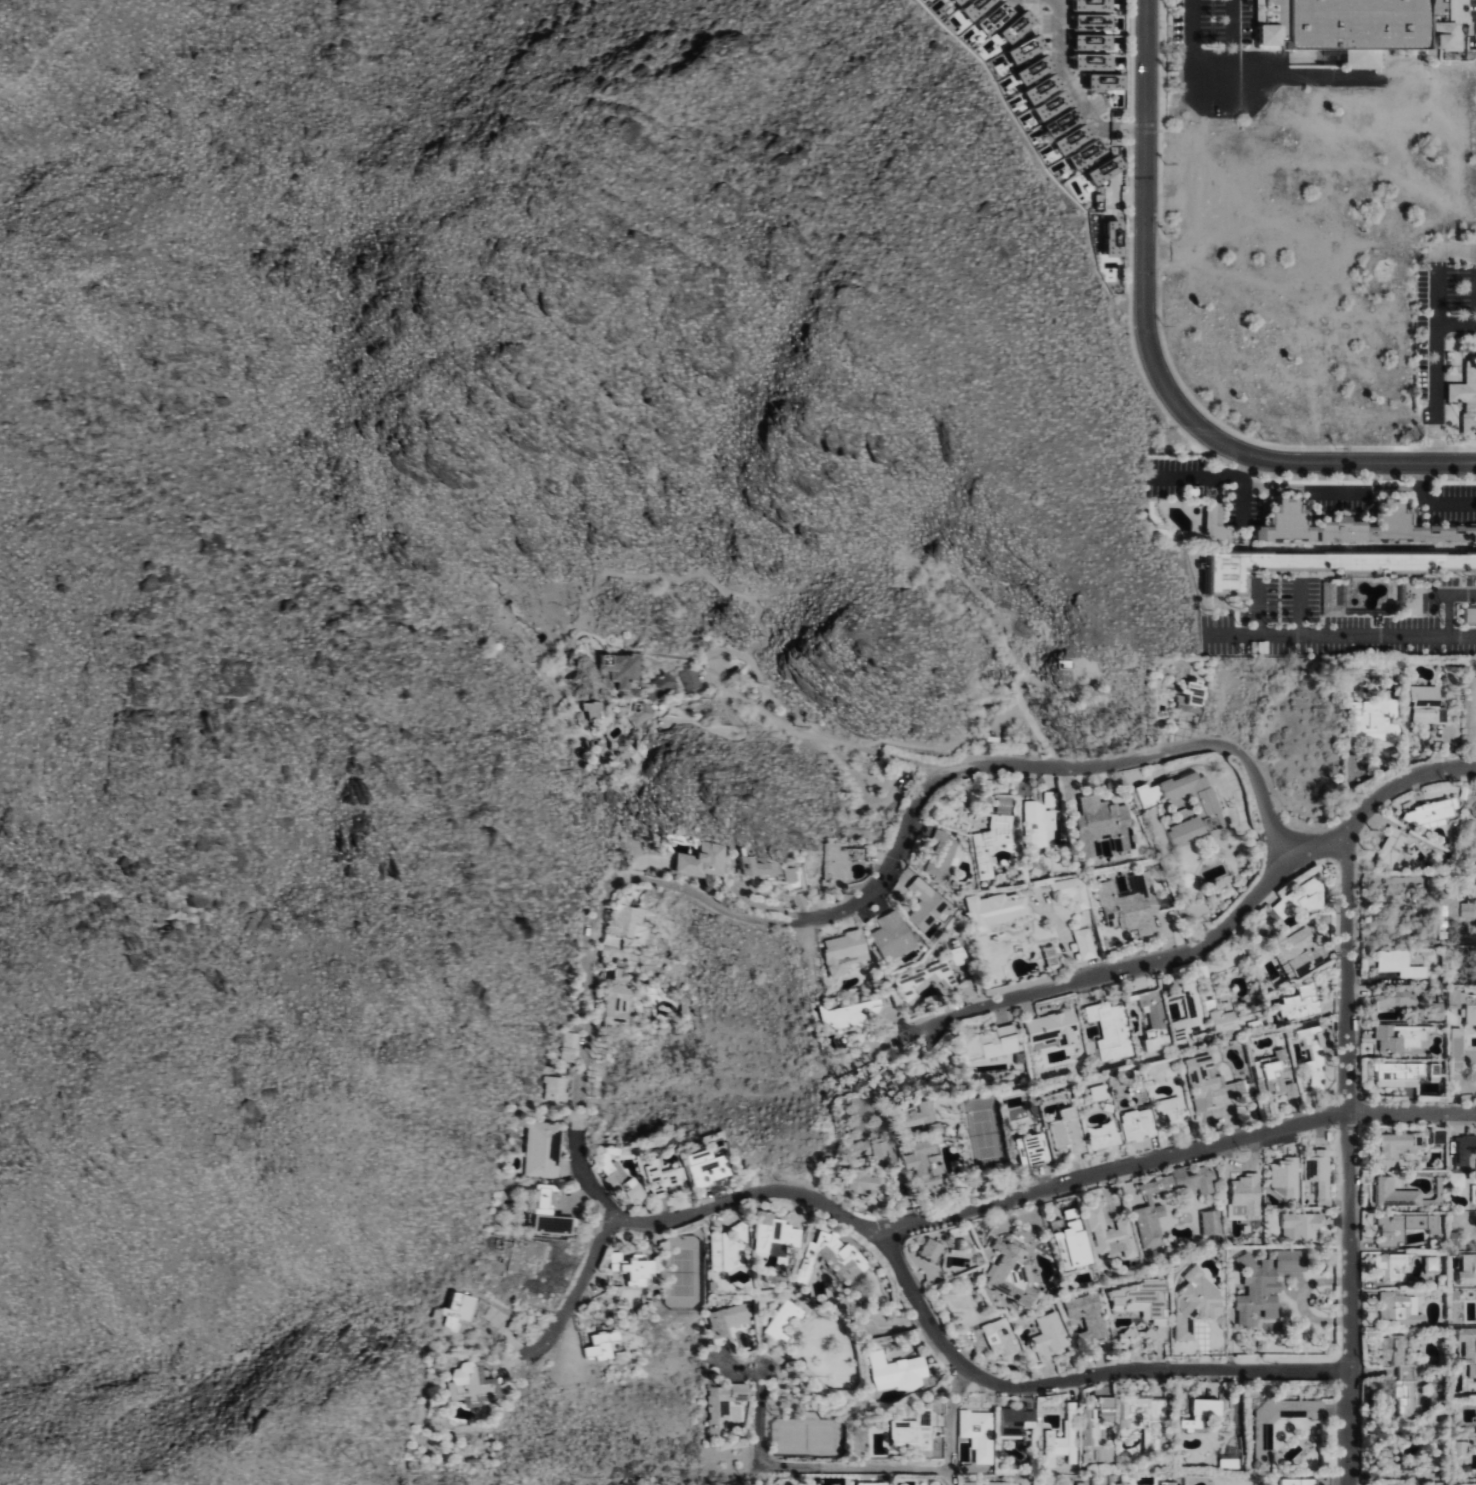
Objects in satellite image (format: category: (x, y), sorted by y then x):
building: (960, 1)
building: (1094, 5)
building: (977, 8)
building: (997, 17)
building: (1094, 22)
building: (1019, 26)
building: (1360, 26)
road: (1233, 40)
building: (1094, 42)
building: (1028, 49)
road: (52, 51)
building: (1094, 61)
building: (1037, 69)
road: (1244, 80)
building: (1107, 82)
road: (1072, 91)
building: (1049, 97)
building: (1076, 138)
building: (1107, 169)
building: (1115, 238)
road: (1437, 270)
road: (1475, 306)
road: (1158, 360)
road: (1437, 394)
building: (1465, 396)
road: (1245, 464)
road: (1219, 475)
road: (1430, 503)
building: (1213, 518)
building: (1354, 528)
building: (1317, 566)
building: (1329, 601)
road: (1448, 601)
road: (1257, 608)
road: (1300, 608)
building: (1468, 614)
road: (1341, 635)
building: (1056, 666)
building: (617, 670)
building: (694, 678)
building: (661, 684)
building: (632, 692)
building: (1193, 698)
building: (1422, 704)
building: (589, 710)
building: (637, 715)
building: (1372, 720)
road: (820, 738)
road: (1032, 767)
building: (1051, 798)
building: (1207, 805)
building: (1426, 810)
building: (1037, 822)
building: (1102, 825)
building: (990, 838)
building: (1389, 846)
road: (1167, 852)
building: (940, 853)
building: (875, 856)
building: (699, 860)
building: (837, 865)
building: (761, 869)
building: (790, 873)
building: (1072, 890)
building: (1299, 898)
building: (797, 900)
building: (1129, 902)
road: (602, 904)
building: (922, 904)
building: (1452, 904)
building: (990, 910)
building: (622, 921)
building: (890, 935)
building: (1084, 944)
building: (1298, 950)
road: (1191, 951)
building: (839, 952)
building: (958, 956)
building: (1396, 963)
building: (608, 973)
building: (924, 979)
building: (1392, 999)
building: (1300, 1001)
building: (614, 1002)
building: (1461, 1004)
building: (1433, 1010)
building: (1187, 1013)
building: (847, 1014)
building: (1216, 1016)
building: (1153, 1019)
building: (1251, 1026)
building: (1051, 1028)
building: (1109, 1030)
building: (1395, 1036)
building: (992, 1042)
building: (569, 1047)
building: (1311, 1047)
building: (1453, 1047)
building: (1394, 1072)
building: (1429, 1072)
building: (1436, 1072)
building: (1272, 1076)
building: (1208, 1084)
building: (553, 1088)
building: (1100, 1091)
building: (1170, 1113)
building: (1137, 1126)
building: (1067, 1133)
building: (1436, 1135)
building: (1104, 1138)
building: (1464, 1143)
building: (922, 1144)
building: (1394, 1145)
building: (860, 1149)
building: (1032, 1150)
building: (542, 1151)
building: (881, 1155)
road: (1173, 1156)
road: (1347, 1160)
building: (705, 1166)
road: (581, 1169)
building: (1317, 1172)
building: (617, 1177)
building: (1283, 1179)
building: (1455, 1179)
building: (661, 1180)
building: (864, 1180)
building: (1440, 1192)
building: (1400, 1193)
building: (1472, 1193)
building: (1243, 1195)
road: (749, 1198)
building: (1149, 1207)
building: (546, 1213)
building: (1207, 1222)
building: (1298, 1226)
building: (1400, 1226)
building: (773, 1231)
building: (1021, 1233)
building: (1105, 1234)
building: (1453, 1237)
building: (1068, 1246)
building: (722, 1249)
building: (929, 1250)
building: (828, 1258)
building: (1288, 1260)
building: (1430, 1264)
building: (629, 1266)
building: (1008, 1266)
building: (1393, 1266)
building: (1466, 1268)
building: (708, 1286)
road: (577, 1289)
building: (1252, 1290)
building: (1142, 1303)
building: (1192, 1304)
building: (1395, 1308)
building: (456, 1310)
building: (1083, 1318)
building: (724, 1319)
building: (771, 1323)
building: (857, 1331)
building: (1048, 1335)
building: (1124, 1336)
building: (996, 1338)
building: (1466, 1341)
building: (598, 1343)
building: (1390, 1348)
building: (892, 1371)
road: (1071, 1372)
building: (1408, 1373)
building: (1475, 1374)
building: (474, 1386)
building: (720, 1404)
building: (1195, 1416)
building: (1142, 1419)
building: (1011, 1422)
road: (950, 1425)
building: (913, 1433)
building: (1094, 1433)
building: (977, 1437)
building: (1261, 1444)
building: (1431, 1445)
building: (1456, 1445)
building: (1060, 1446)
building: (1385, 1449)
building: (1225, 1462)
road: (790, 1465)
building: (1096, 1481)
building: (1167, 1482)
building: (1296, 1482)
building: (988, 1483)
building: (1078, 1483)
building: (1121, 1484)

